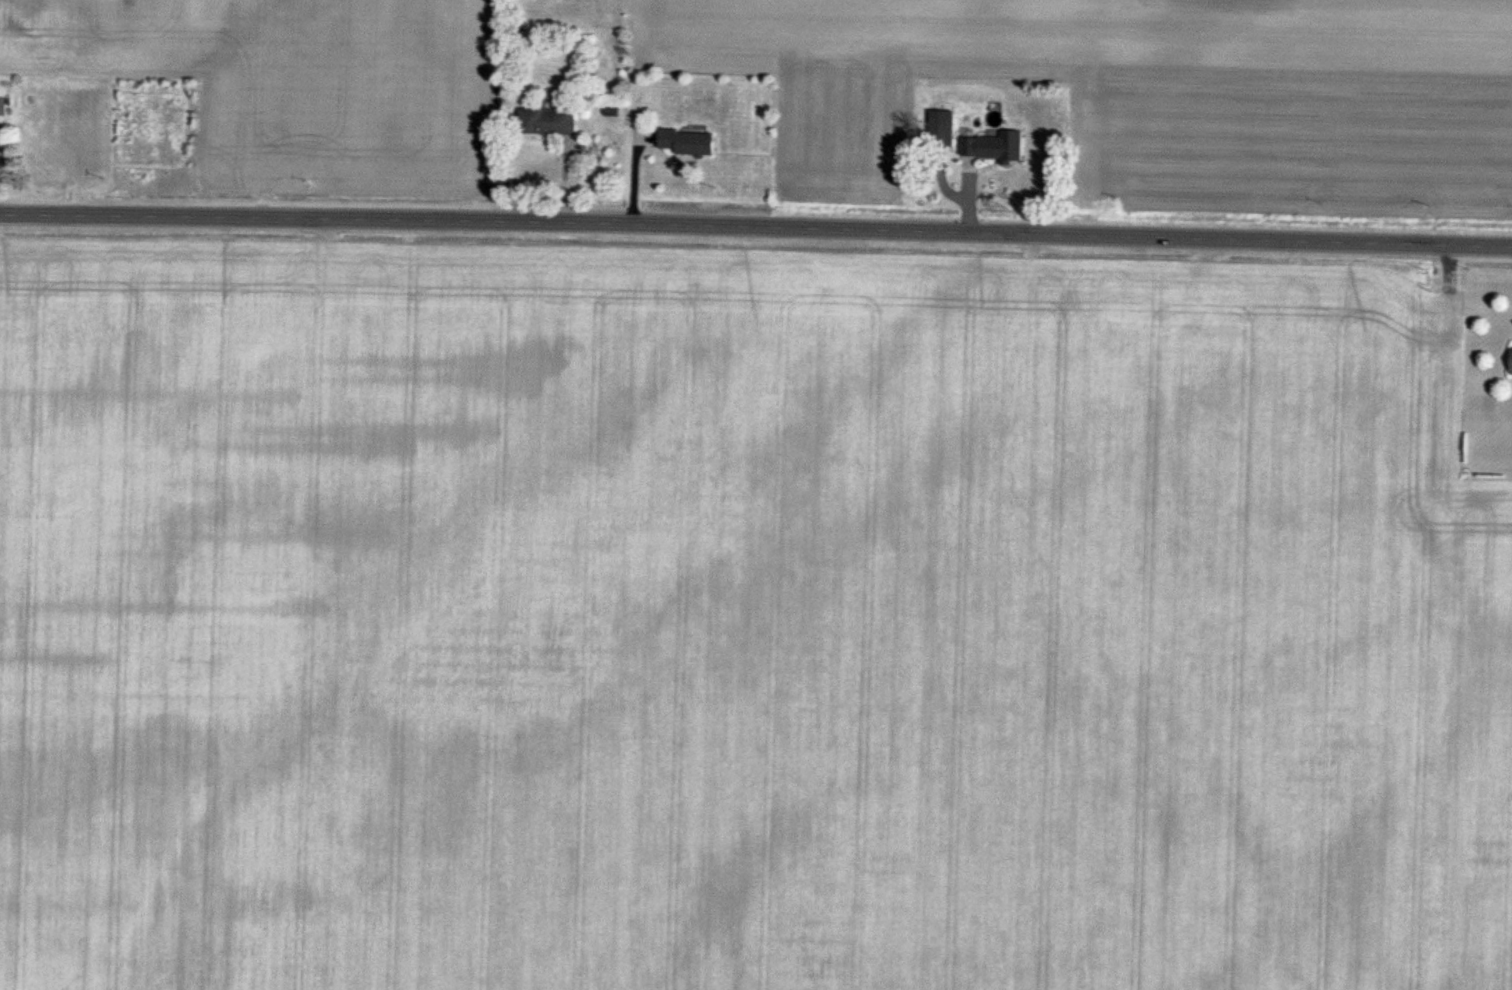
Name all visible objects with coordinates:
building: (1, 107)
building: (546, 122)
building: (941, 129)
building: (686, 143)
building: (992, 147)
road: (756, 228)
building: (1510, 363)

